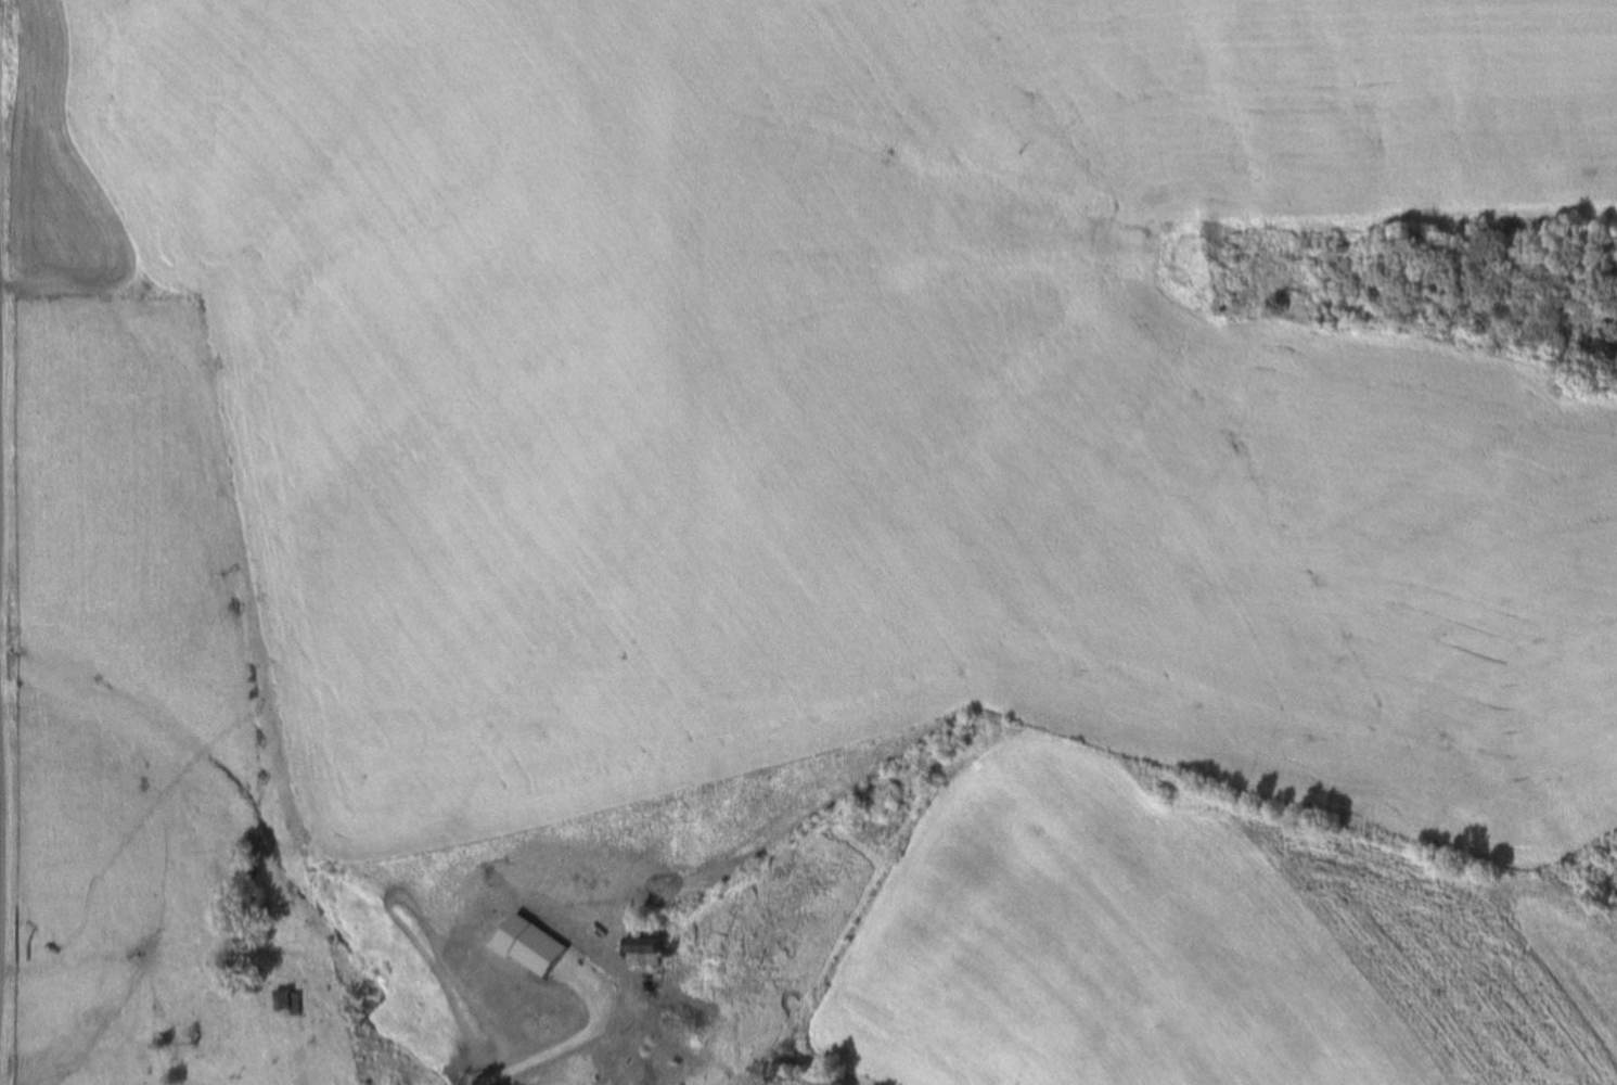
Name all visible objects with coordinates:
building: (659, 946)
building: (640, 950)
building: (596, 998)
building: (280, 1000)
building: (474, 1070)

